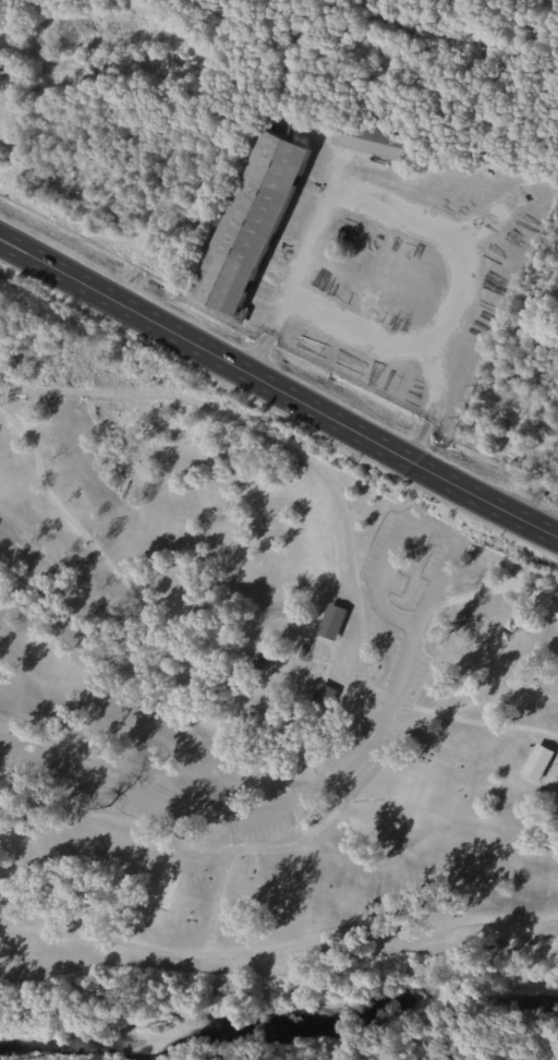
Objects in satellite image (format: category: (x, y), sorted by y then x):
building: (378, 142)
airport: (319, 189)
building: (253, 215)
road: (294, 275)
road: (25, 385)
road: (278, 390)
road: (342, 510)
road: (417, 525)
parking lot: (392, 552)
parking lot: (432, 564)
road: (514, 581)
road: (445, 600)
building: (332, 623)
road: (151, 631)
building: (260, 662)
building: (325, 696)
park: (251, 699)
road: (536, 730)
parking lot: (357, 752)
building: (537, 764)
park: (551, 774)
parking lot: (51, 778)
road: (368, 799)
parking lot: (154, 815)
road: (252, 816)
parking lot: (264, 827)
road: (301, 841)
road: (216, 901)
road: (278, 948)
river: (281, 1028)

